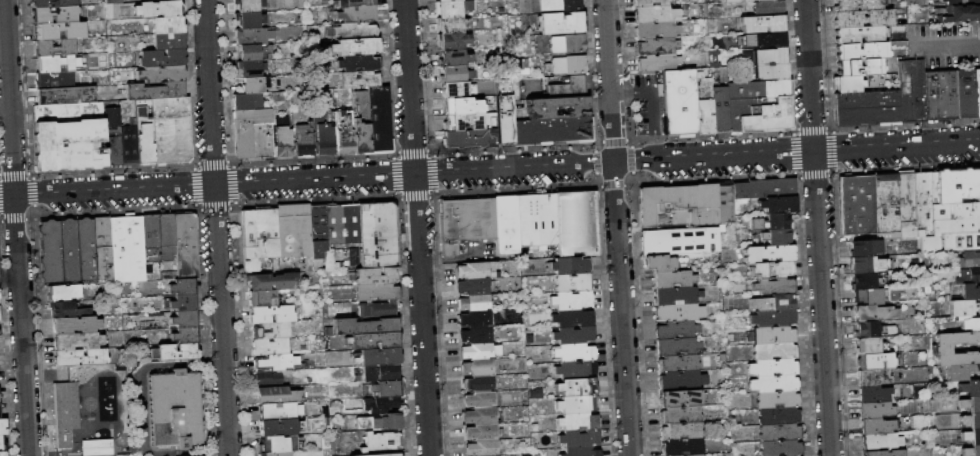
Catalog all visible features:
building: (444, 0)
building: (732, 0)
building: (352, 2)
building: (649, 2)
building: (960, 2)
building: (52, 3)
building: (559, 4)
building: (247, 5)
building: (855, 5)
building: (452, 7)
building: (767, 7)
building: (111, 8)
building: (158, 8)
building: (356, 13)
building: (654, 13)
building: (959, 13)
building: (54, 15)
building: (862, 17)
building: (248, 19)
building: (560, 22)
building: (167, 24)
building: (450, 24)
building: (762, 24)
building: (656, 29)
building: (59, 30)
building: (354, 30)
building: (858, 34)
building: (252, 35)
building: (764, 39)
building: (168, 40)
building: (452, 40)
building: (566, 43)
parking lot: (947, 44)
building: (355, 46)
building: (657, 46)
building: (53, 47)
road: (948, 47)
building: (861, 50)
building: (253, 52)
building: (764, 56)
building: (161, 58)
building: (452, 58)
building: (358, 62)
building: (658, 62)
building: (53, 63)
building: (567, 64)
building: (859, 66)
building: (250, 68)
building: (766, 70)
building: (160, 73)
building: (451, 73)
building: (359, 79)
building: (54, 80)
building: (847, 83)
building: (253, 84)
building: (567, 87)
building: (465, 88)
building: (911, 90)
building: (154, 91)
building: (976, 91)
road: (639, 92)
building: (963, 93)
building: (65, 94)
road: (621, 94)
building: (939, 94)
building: (865, 98)
building: (246, 101)
building: (703, 101)
building: (679, 102)
parking lot: (646, 103)
building: (467, 104)
building: (759, 106)
building: (170, 107)
building: (556, 107)
building: (719, 109)
building: (502, 111)
road: (651, 111)
road: (5, 113)
building: (867, 115)
building: (111, 117)
building: (378, 120)
building: (466, 120)
building: (360, 123)
building: (552, 130)
building: (253, 134)
building: (68, 136)
building: (345, 136)
building: (282, 138)
building: (467, 138)
building: (323, 139)
building: (171, 140)
building: (303, 140)
building: (128, 145)
building: (144, 146)
road: (653, 148)
building: (114, 150)
road: (490, 170)
building: (956, 183)
building: (764, 188)
building: (725, 203)
building: (855, 203)
building: (920, 203)
building: (777, 204)
building: (904, 204)
building: (677, 205)
building: (885, 205)
building: (954, 216)
building: (536, 219)
building: (317, 220)
building: (770, 221)
building: (465, 222)
building: (578, 222)
building: (341, 224)
building: (506, 225)
road: (216, 227)
road: (416, 227)
road: (617, 227)
road: (817, 227)
road: (15, 228)
building: (294, 232)
building: (377, 233)
building: (150, 237)
building: (166, 237)
building: (258, 237)
building: (776, 237)
building: (960, 240)
building: (681, 241)
building: (929, 243)
building: (184, 247)
building: (863, 247)
building: (102, 248)
building: (126, 249)
building: (317, 249)
building: (67, 251)
road: (468, 251)
building: (767, 254)
building: (353, 257)
building: (968, 258)
building: (333, 262)
road: (444, 262)
building: (659, 263)
building: (864, 263)
building: (569, 265)
building: (771, 269)
building: (476, 270)
building: (967, 274)
building: (375, 276)
building: (673, 279)
building: (863, 280)
building: (271, 281)
building: (572, 282)
building: (181, 286)
building: (473, 286)
building: (772, 286)
building: (970, 290)
building: (376, 292)
building: (62, 293)
building: (675, 295)
building: (869, 295)
building: (261, 299)
building: (571, 299)
building: (182, 302)
building: (474, 302)
building: (772, 302)
building: (964, 306)
building: (62, 310)
building: (377, 310)
building: (679, 312)
building: (872, 312)
building: (271, 314)
building: (572, 318)
building: (771, 318)
building: (183, 319)
building: (475, 319)
building: (970, 323)
building: (75, 325)
building: (364, 326)
building: (871, 328)
building: (676, 329)
building: (270, 331)
building: (573, 334)
building: (184, 335)
building: (475, 335)
building: (773, 335)
building: (373, 340)
building: (76, 341)
building: (867, 345)
building: (676, 346)
building: (269, 347)
building: (942, 348)
building: (479, 351)
building: (573, 351)
building: (773, 351)
building: (177, 352)
building: (377, 357)
building: (80, 358)
building: (875, 360)
building: (276, 362)
building: (677, 363)
building: (477, 367)
building: (772, 367)
building: (574, 369)
building: (960, 371)
building: (379, 372)
building: (870, 376)
building: (270, 378)
building: (681, 381)
building: (478, 383)
building: (773, 384)
building: (576, 387)
building: (970, 387)
building: (385, 389)
building: (871, 393)
building: (275, 395)
building: (678, 398)
building: (478, 399)
building: (776, 400)
building: (970, 403)
building: (379, 404)
building: (576, 404)
building: (873, 408)
building: (175, 409)
road: (140, 410)
building: (279, 411)
building: (65, 413)
building: (679, 415)
building: (479, 416)
building: (778, 416)
building: (970, 419)
building: (577, 421)
building: (380, 422)
building: (875, 425)
building: (2, 426)
building: (271, 427)
building: (680, 431)
building: (480, 432)
building: (778, 432)
building: (970, 435)
building: (578, 438)
building: (880, 441)
building: (380, 442)
building: (277, 443)
building: (2, 444)
building: (97, 447)
building: (681, 447)
building: (779, 447)
building: (482, 448)
building: (970, 450)
building: (580, 452)
building: (882, 452)
building: (2, 453)
building: (275, 454)
building: (124, 455)
building: (379, 455)
building: (690, 455)
building: (790, 455)

